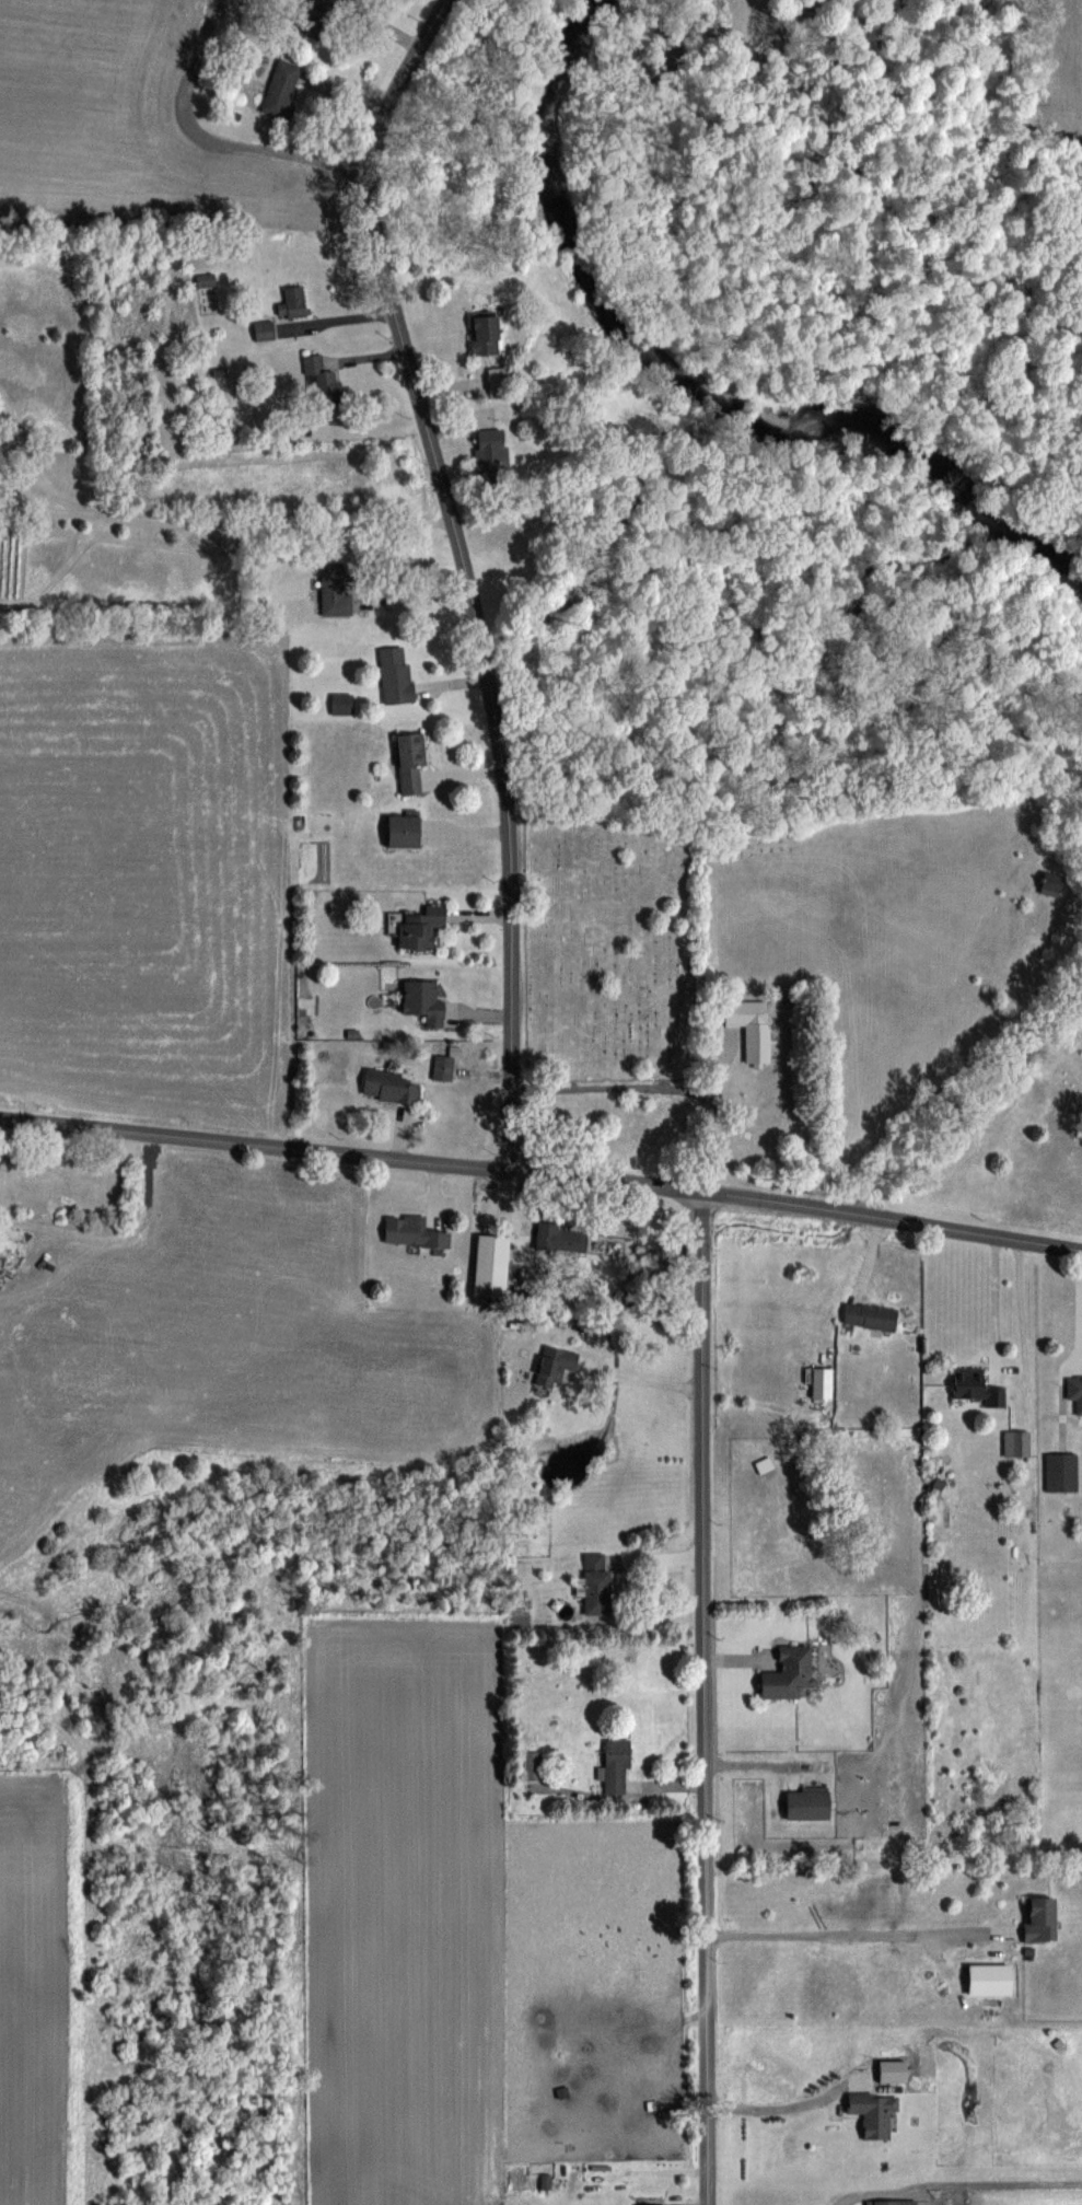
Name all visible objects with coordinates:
building: (315, 15)
crop: (1060, 68)
building: (280, 88)
crop: (124, 129)
road: (213, 141)
building: (205, 279)
building: (292, 303)
building: (264, 329)
building: (485, 335)
river: (693, 379)
building: (319, 381)
building: (499, 383)
building: (490, 454)
road: (47, 491)
road: (47, 510)
road: (272, 526)
road: (464, 572)
building: (334, 588)
road: (415, 603)
building: (395, 674)
building: (341, 703)
building: (409, 762)
building: (402, 831)
crop: (144, 873)
building: (1049, 882)
building: (419, 928)
park: (607, 942)
building: (422, 1000)
building: (756, 1041)
building: (444, 1067)
building: (388, 1086)
road: (613, 1090)
building: (1074, 1106)
road: (714, 1127)
road: (542, 1173)
building: (412, 1231)
building: (560, 1238)
building: (490, 1266)
road: (1080, 1304)
building: (869, 1314)
building: (554, 1365)
road: (640, 1377)
building: (975, 1385)
building: (1074, 1391)
building: (1015, 1442)
building: (1061, 1471)
building: (595, 1582)
building: (787, 1672)
road: (702, 1697)
building: (533, 1765)
building: (615, 1765)
building: (806, 1801)
building: (1038, 1918)
road: (838, 1934)
building: (988, 1978)
road: (778, 2107)
building: (872, 2111)
building: (883, 2202)
building: (650, 2204)

